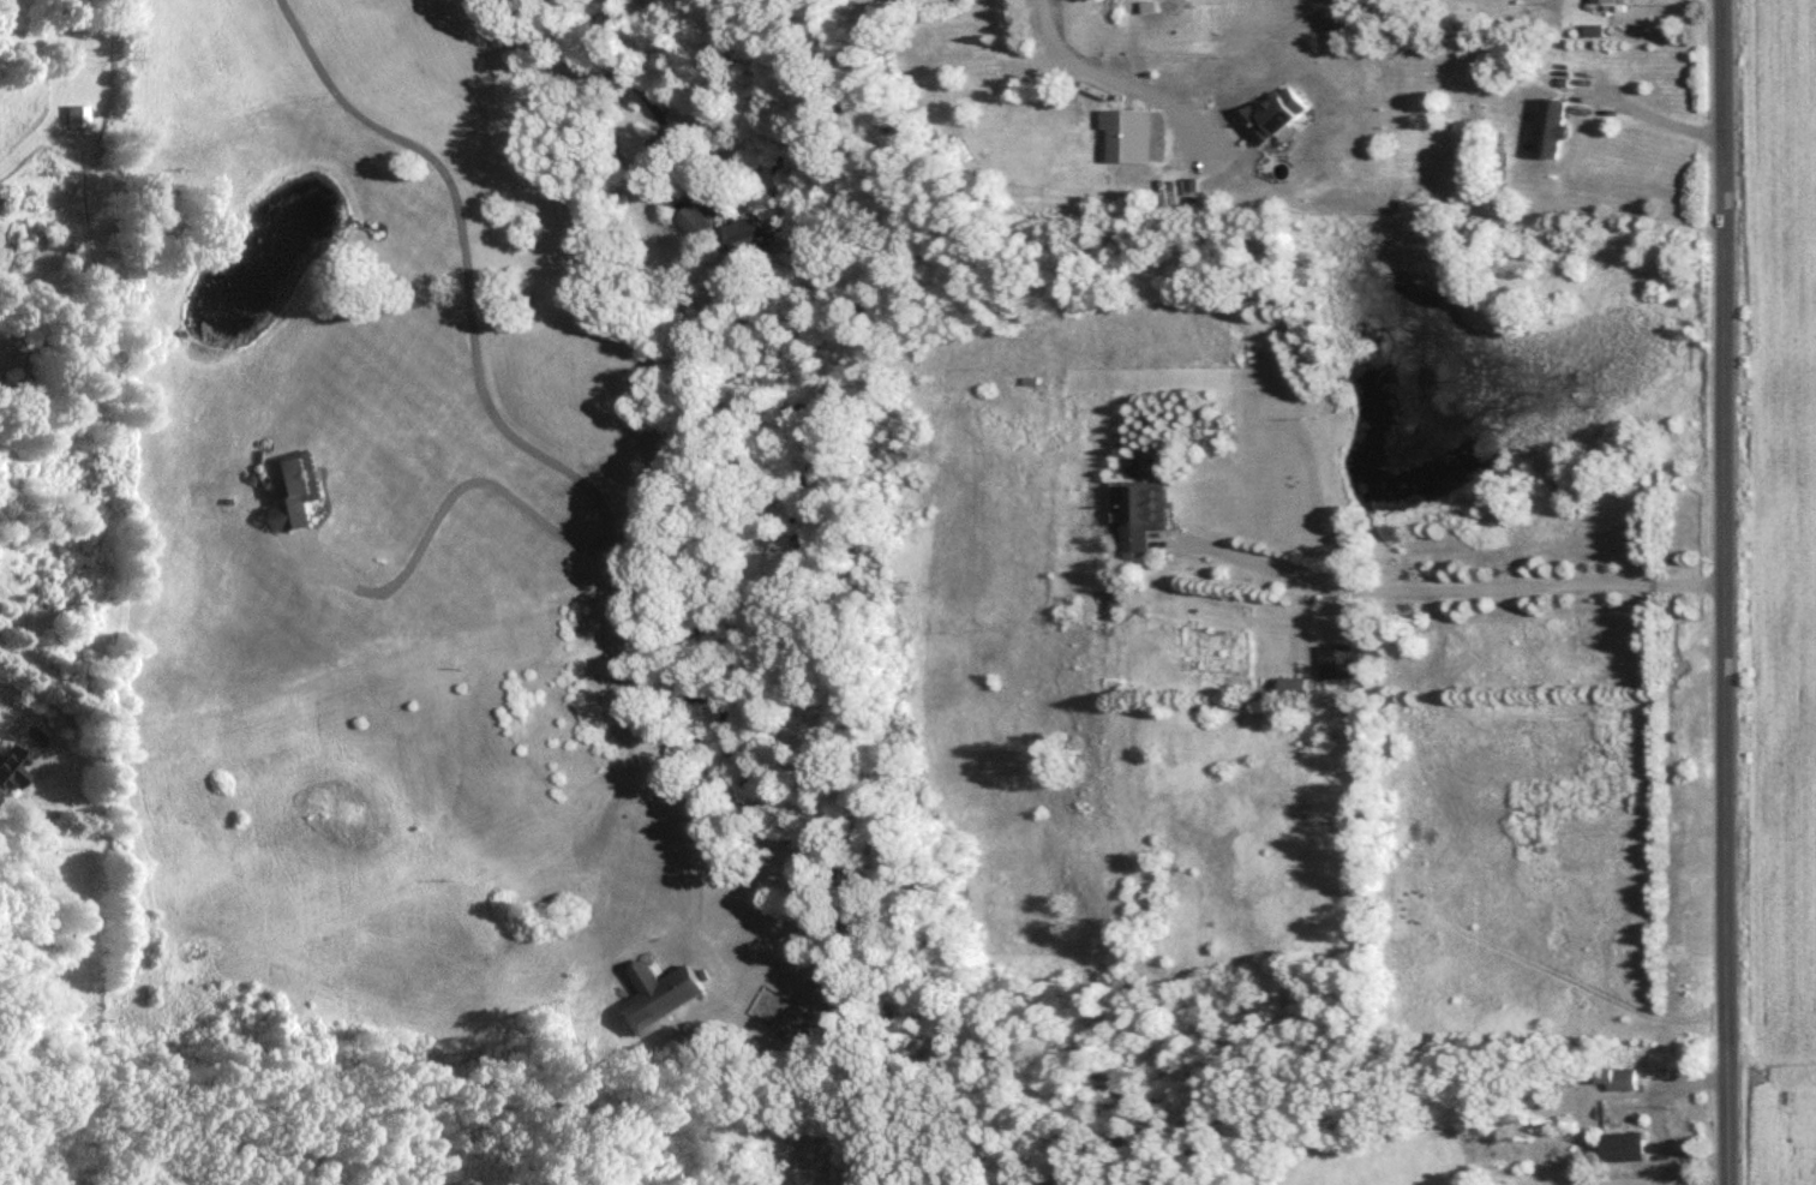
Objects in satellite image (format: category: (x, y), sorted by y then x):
building: (1606, 0)
road: (619, 73)
road: (1093, 73)
building: (1277, 115)
building: (74, 118)
road: (1658, 124)
building: (1553, 128)
building: (1129, 133)
building: (725, 232)
road: (516, 449)
building: (298, 486)
road: (449, 505)
building: (1145, 515)
road: (1726, 592)
road: (1456, 594)
building: (1338, 664)
building: (1293, 688)
building: (7, 768)
building: (659, 997)
building: (1619, 1081)
building: (1625, 1149)

